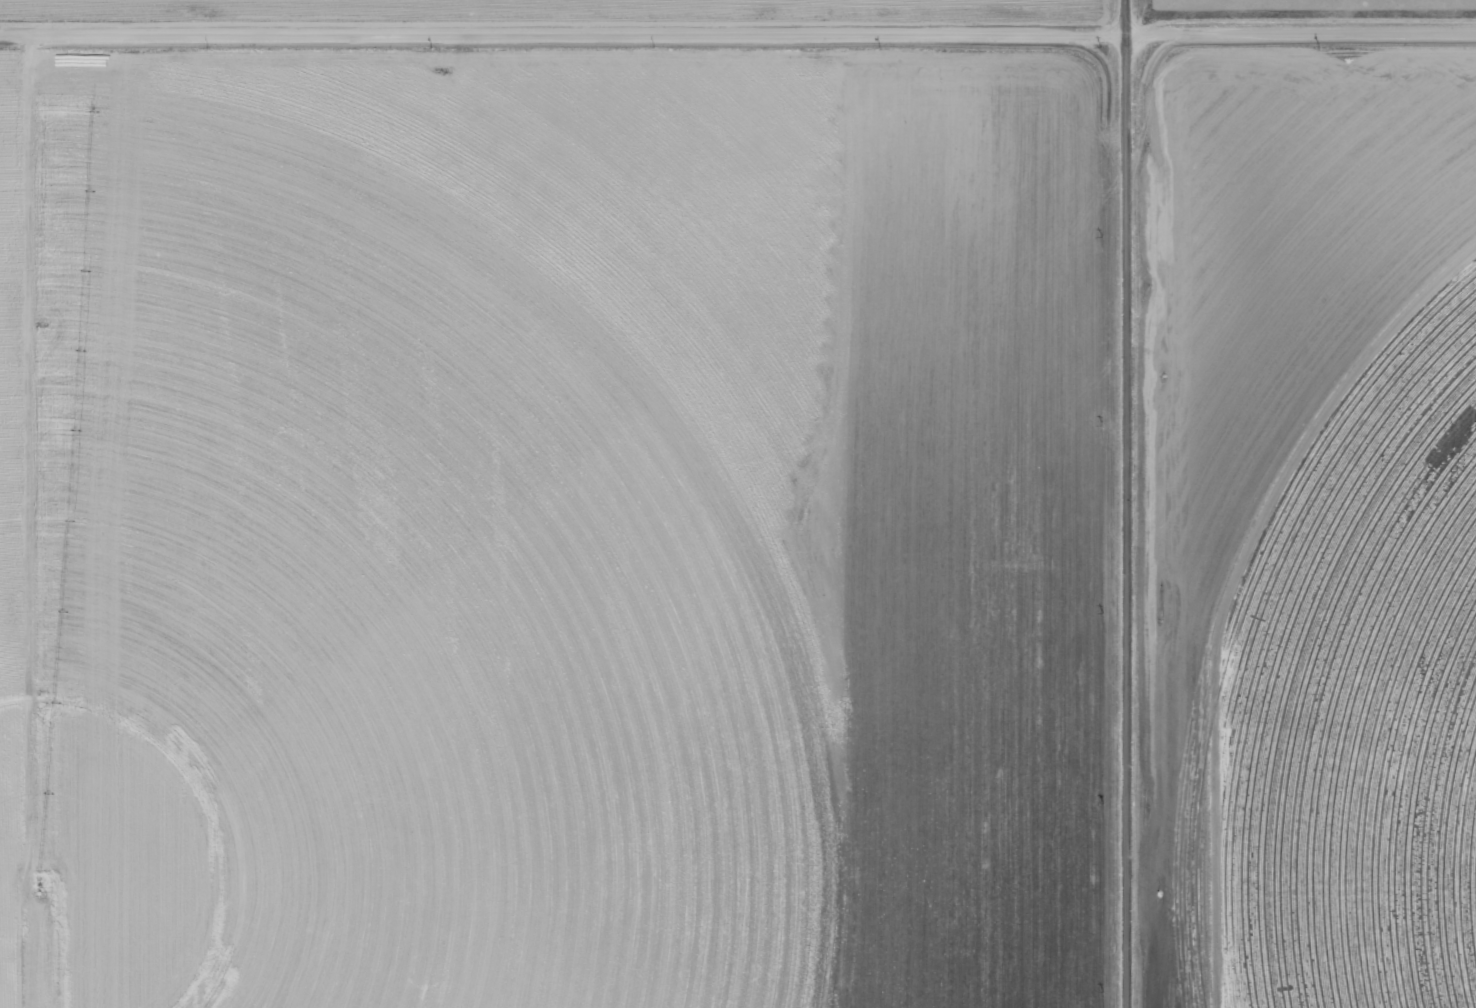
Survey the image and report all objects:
road: (737, 35)
road: (1125, 504)

